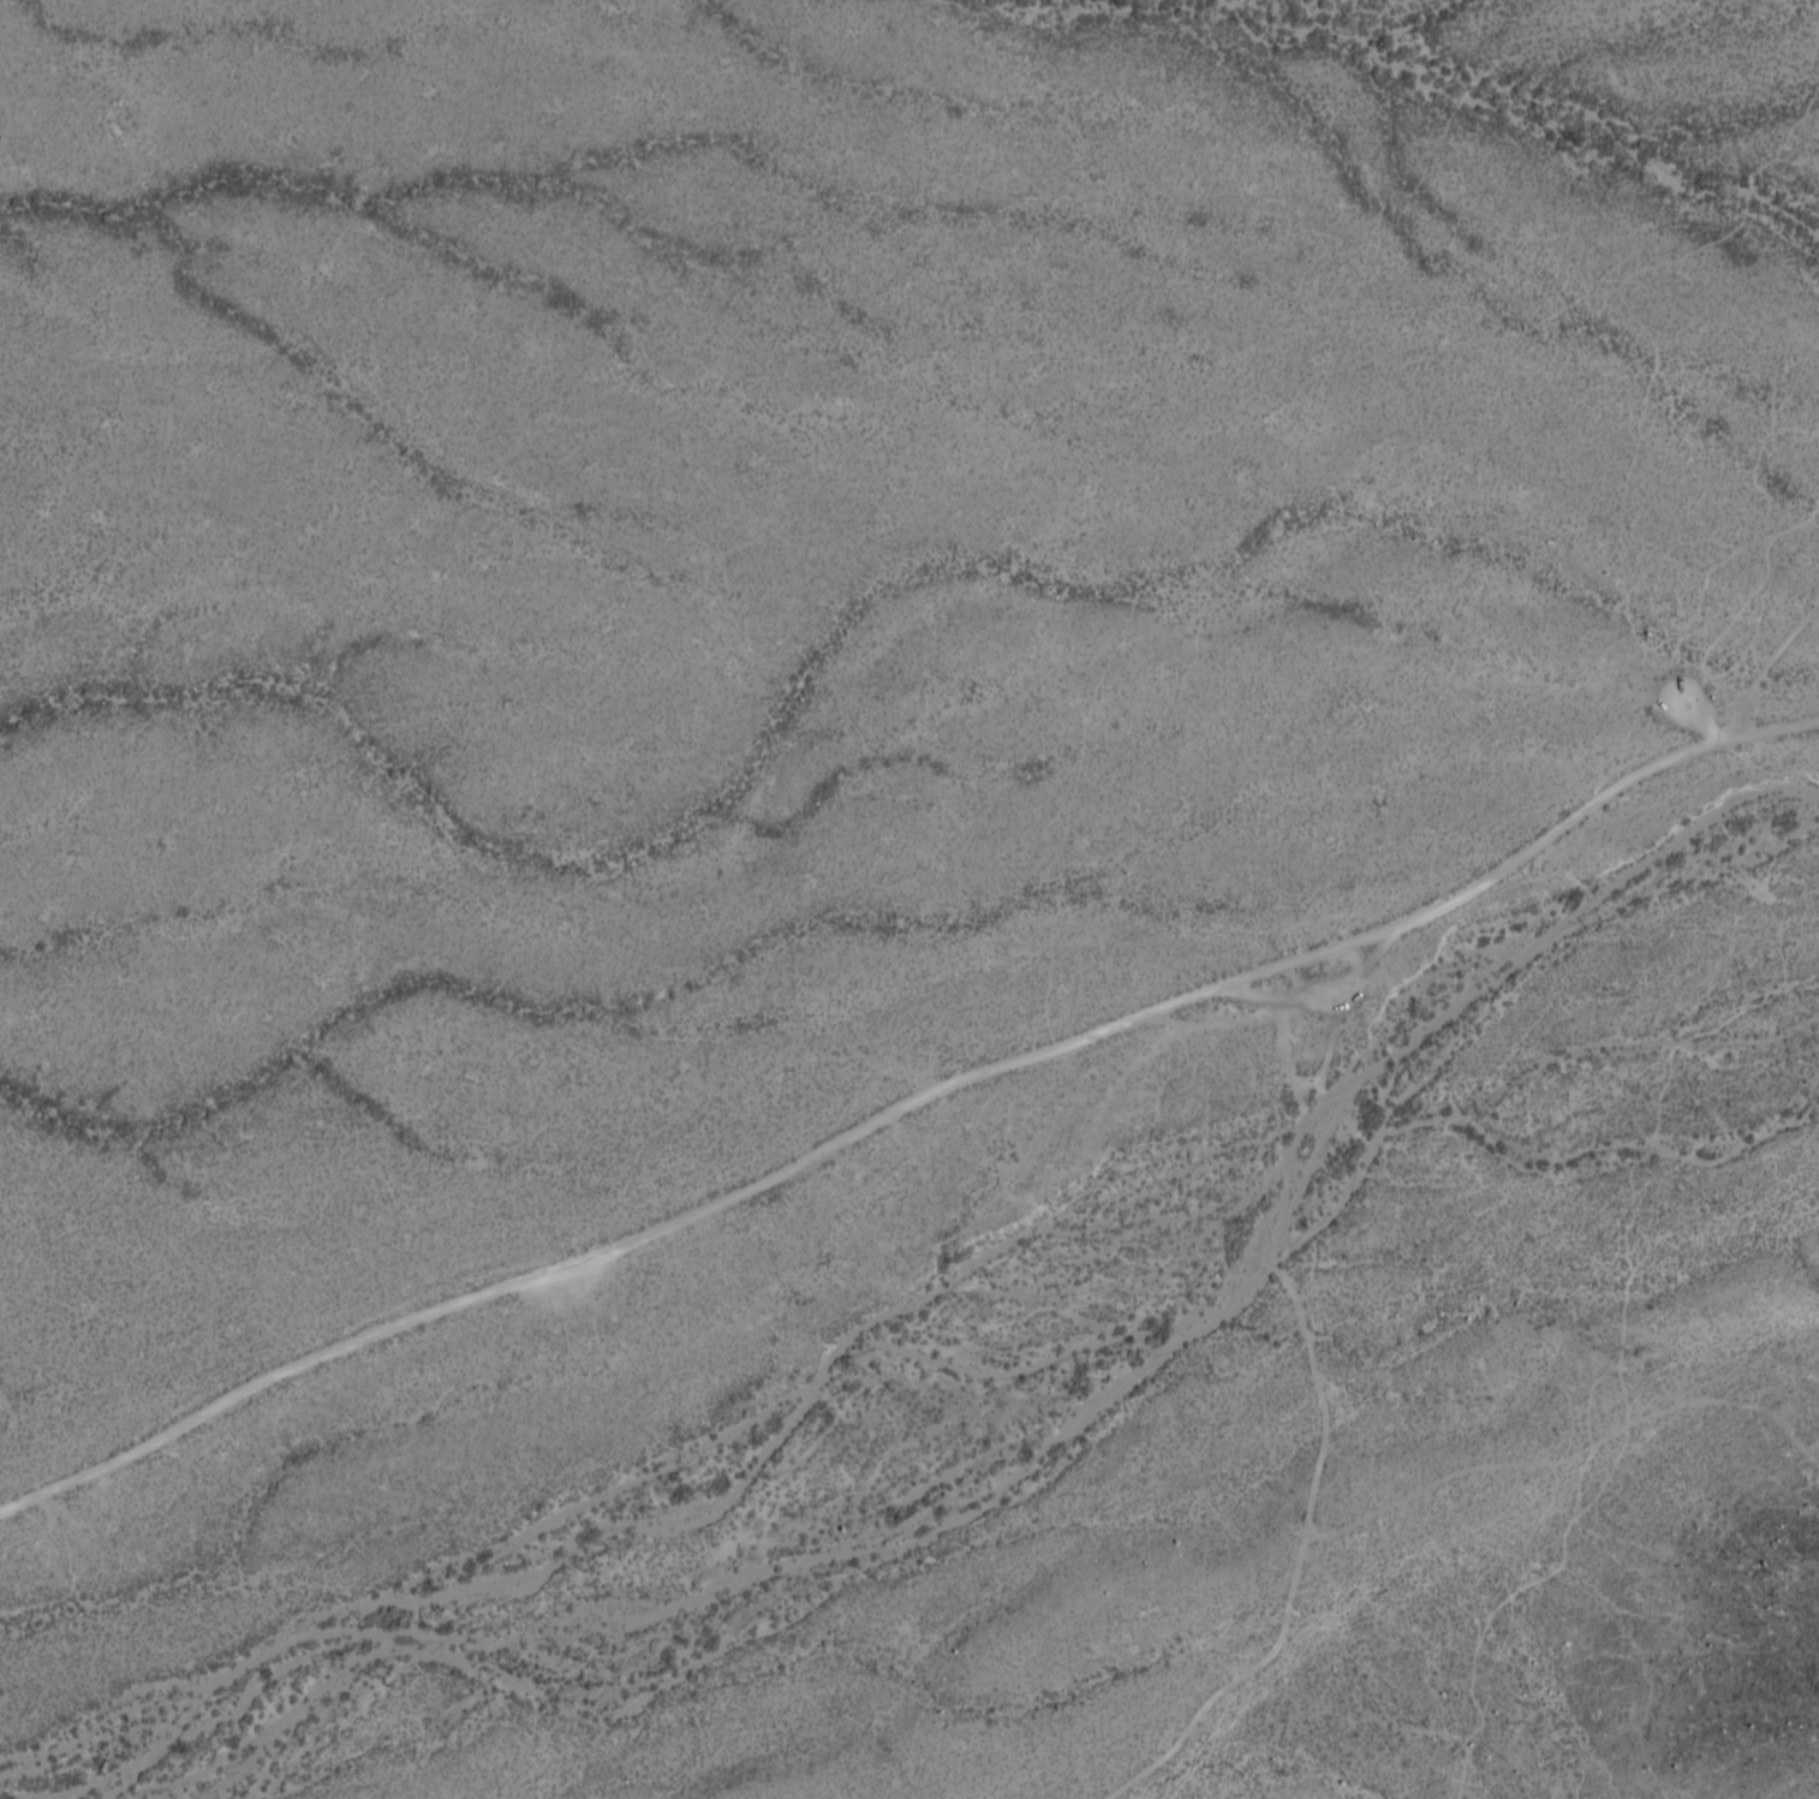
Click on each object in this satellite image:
road: (1817, 558)
road: (1759, 603)
road: (1681, 631)
road: (1772, 661)
parking lot: (1695, 709)
road: (1779, 721)
parking lot: (1323, 985)
road: (1337, 1011)
road: (873, 1122)
road: (1292, 1174)
road: (1622, 1237)
road: (1296, 1560)

